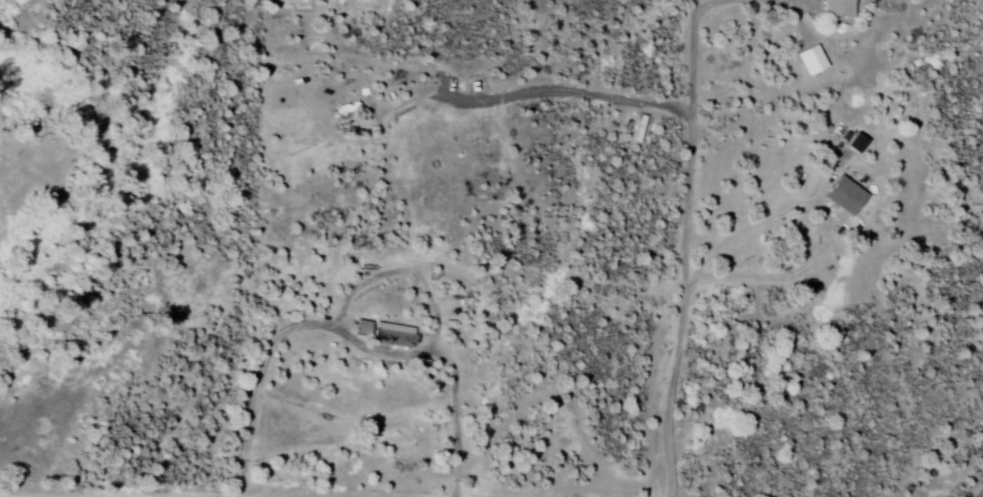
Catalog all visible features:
building: (834, 8)
building: (808, 60)
building: (840, 196)
road: (815, 209)
road: (681, 248)
building: (379, 333)
road: (164, 496)

